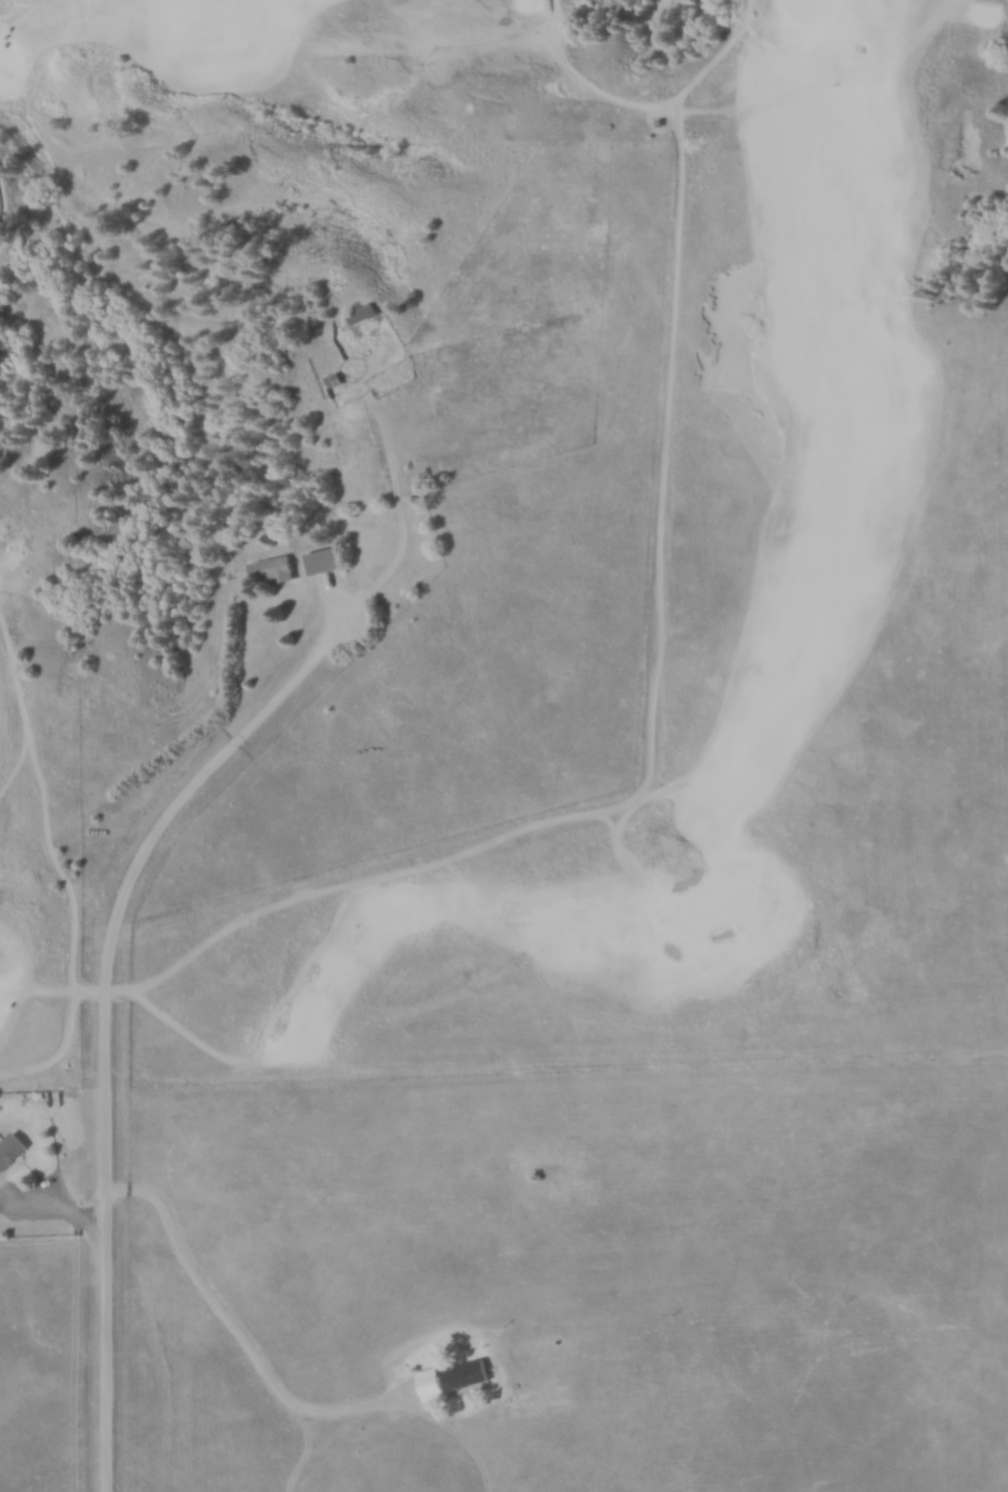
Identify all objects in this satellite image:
building: (364, 313)
building: (335, 379)
building: (325, 560)
building: (274, 568)
road: (103, 995)
building: (11, 1151)

